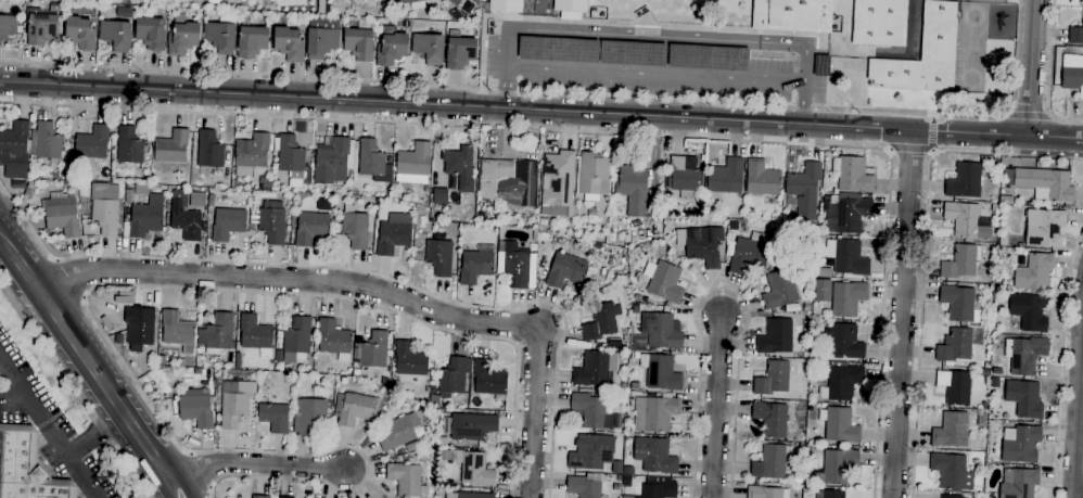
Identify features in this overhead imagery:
building: (64, 0)
building: (268, 0)
building: (927, 0)
building: (354, 1)
building: (451, 1)
building: (214, 2)
building: (1081, 2)
building: (411, 3)
building: (505, 5)
building: (321, 7)
building: (124, 12)
building: (792, 15)
building: (879, 23)
building: (399, 24)
building: (9, 27)
building: (42, 27)
building: (80, 34)
building: (151, 34)
building: (454, 34)
building: (220, 35)
building: (1075, 35)
building: (115, 36)
building: (182, 36)
road: (657, 37)
building: (322, 38)
building: (252, 41)
building: (360, 41)
building: (289, 44)
building: (391, 47)
building: (429, 49)
building: (590, 51)
building: (459, 53)
building: (923, 55)
building: (706, 58)
road: (1031, 67)
road: (1048, 74)
building: (1072, 74)
road: (655, 75)
road: (561, 95)
road: (540, 110)
road: (1030, 115)
road: (932, 132)
road: (619, 135)
building: (46, 143)
building: (92, 143)
building: (129, 145)
building: (171, 148)
road: (910, 149)
building: (209, 150)
building: (15, 153)
building: (251, 154)
building: (290, 156)
building: (390, 159)
building: (332, 161)
building: (373, 162)
building: (413, 164)
building: (459, 167)
building: (591, 174)
building: (64, 175)
building: (852, 175)
building: (725, 178)
building: (685, 179)
building: (761, 179)
building: (965, 181)
building: (265, 182)
building: (509, 182)
building: (1042, 183)
building: (558, 184)
building: (306, 188)
building: (29, 189)
building: (425, 189)
building: (632, 189)
building: (803, 191)
building: (439, 196)
building: (196, 200)
building: (1006, 200)
building: (994, 207)
building: (105, 209)
building: (30, 213)
building: (143, 213)
building: (59, 216)
building: (848, 216)
building: (963, 219)
building: (188, 221)
building: (718, 221)
building: (269, 222)
building: (543, 222)
building: (228, 224)
building: (310, 228)
building: (353, 228)
building: (1044, 228)
building: (394, 233)
building: (533, 233)
building: (599, 237)
road: (1, 238)
building: (624, 240)
road: (1, 242)
building: (1003, 242)
building: (1020, 245)
building: (703, 246)
road: (923, 248)
building: (750, 253)
building: (438, 257)
building: (846, 257)
building: (960, 261)
building: (476, 265)
building: (517, 266)
building: (564, 270)
road: (358, 272)
building: (1033, 273)
road: (68, 277)
building: (665, 282)
road: (94, 285)
road: (721, 288)
road: (375, 290)
building: (778, 290)
building: (637, 298)
building: (846, 298)
building: (960, 305)
building: (791, 308)
building: (635, 309)
road: (901, 314)
building: (1028, 314)
building: (601, 321)
road: (1082, 324)
building: (139, 325)
building: (661, 330)
building: (177, 331)
building: (217, 334)
building: (256, 335)
building: (776, 336)
building: (625, 339)
building: (296, 340)
building: (334, 340)
building: (614, 343)
building: (844, 343)
building: (954, 346)
building: (371, 352)
building: (1024, 355)
building: (409, 359)
road: (87, 360)
building: (161, 360)
building: (238, 360)
road: (1060, 360)
building: (180, 362)
building: (595, 369)
building: (660, 372)
building: (451, 379)
building: (488, 379)
building: (772, 379)
road: (14, 381)
building: (840, 382)
building: (622, 386)
building: (955, 386)
building: (432, 390)
road: (73, 393)
building: (628, 394)
building: (1023, 398)
road: (715, 406)
road: (1078, 406)
building: (195, 408)
building: (232, 409)
building: (353, 409)
building: (470, 411)
building: (590, 411)
building: (654, 413)
building: (310, 416)
building: (275, 417)
building: (770, 419)
building: (981, 420)
building: (839, 425)
building: (472, 426)
building: (951, 430)
building: (399, 432)
road: (94, 435)
road: (53, 437)
building: (1020, 444)
building: (413, 446)
building: (590, 452)
building: (654, 456)
building: (772, 461)
road: (254, 464)
building: (838, 465)
building: (26, 468)
building: (473, 468)
building: (951, 472)
building: (799, 476)
building: (617, 478)
building: (406, 480)
building: (806, 482)
building: (1018, 483)
building: (583, 487)
road: (182, 488)
building: (658, 488)
road: (170, 489)
building: (764, 491)
building: (832, 494)
building: (467, 495)
building: (260, 496)
building: (951, 496)
building: (282, 497)

